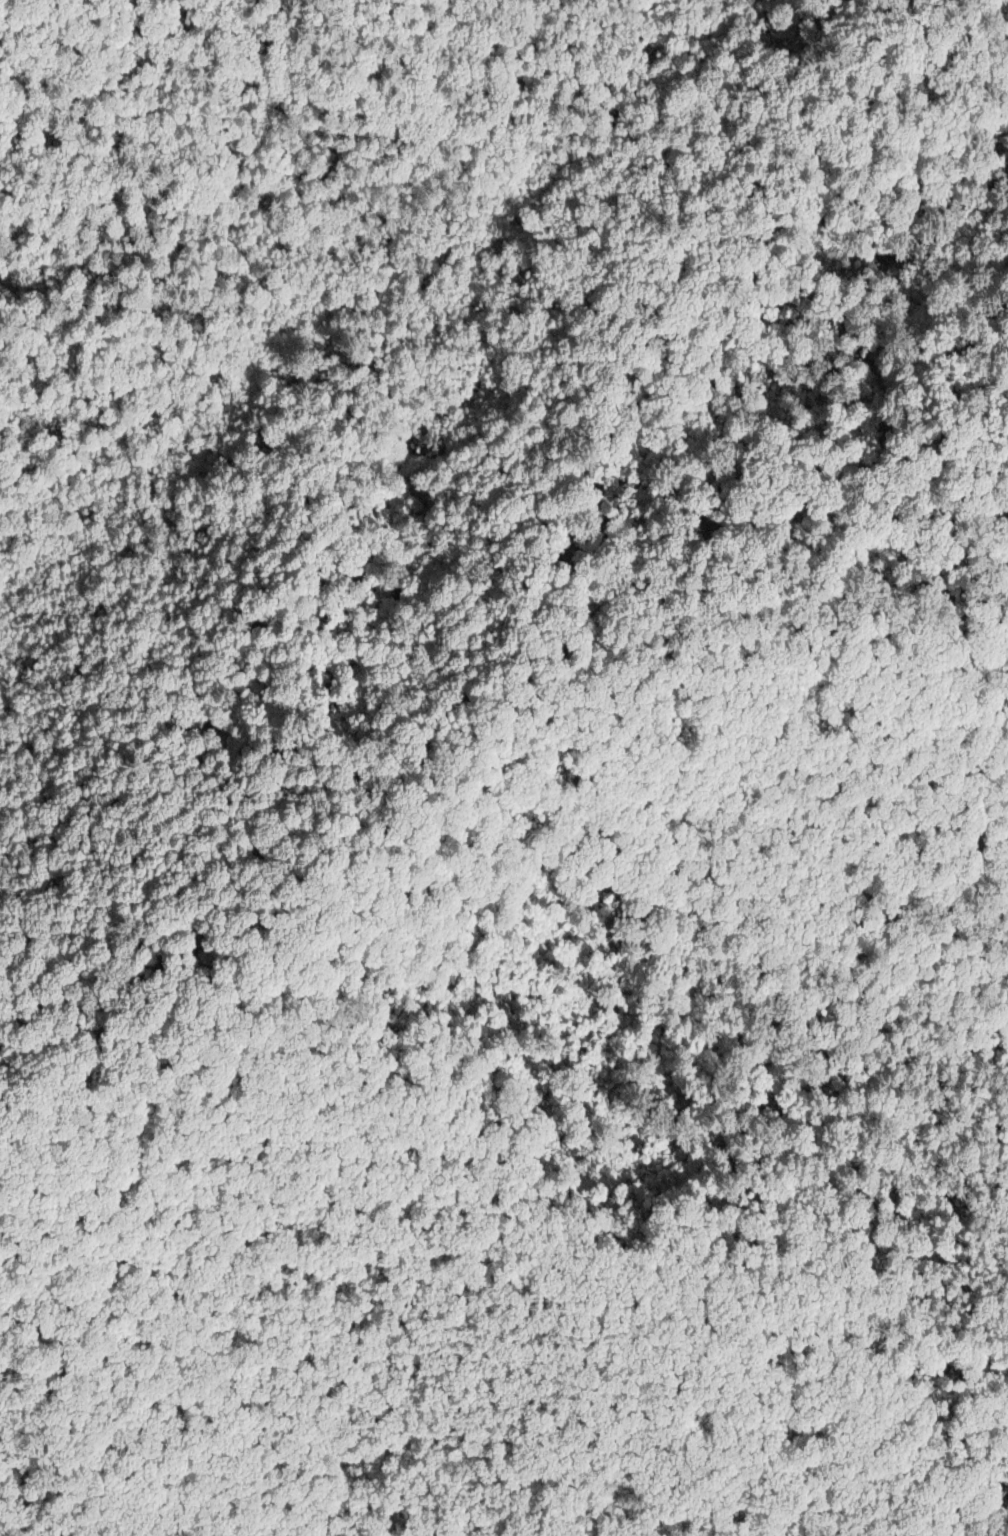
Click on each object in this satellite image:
road: (884, 9)

